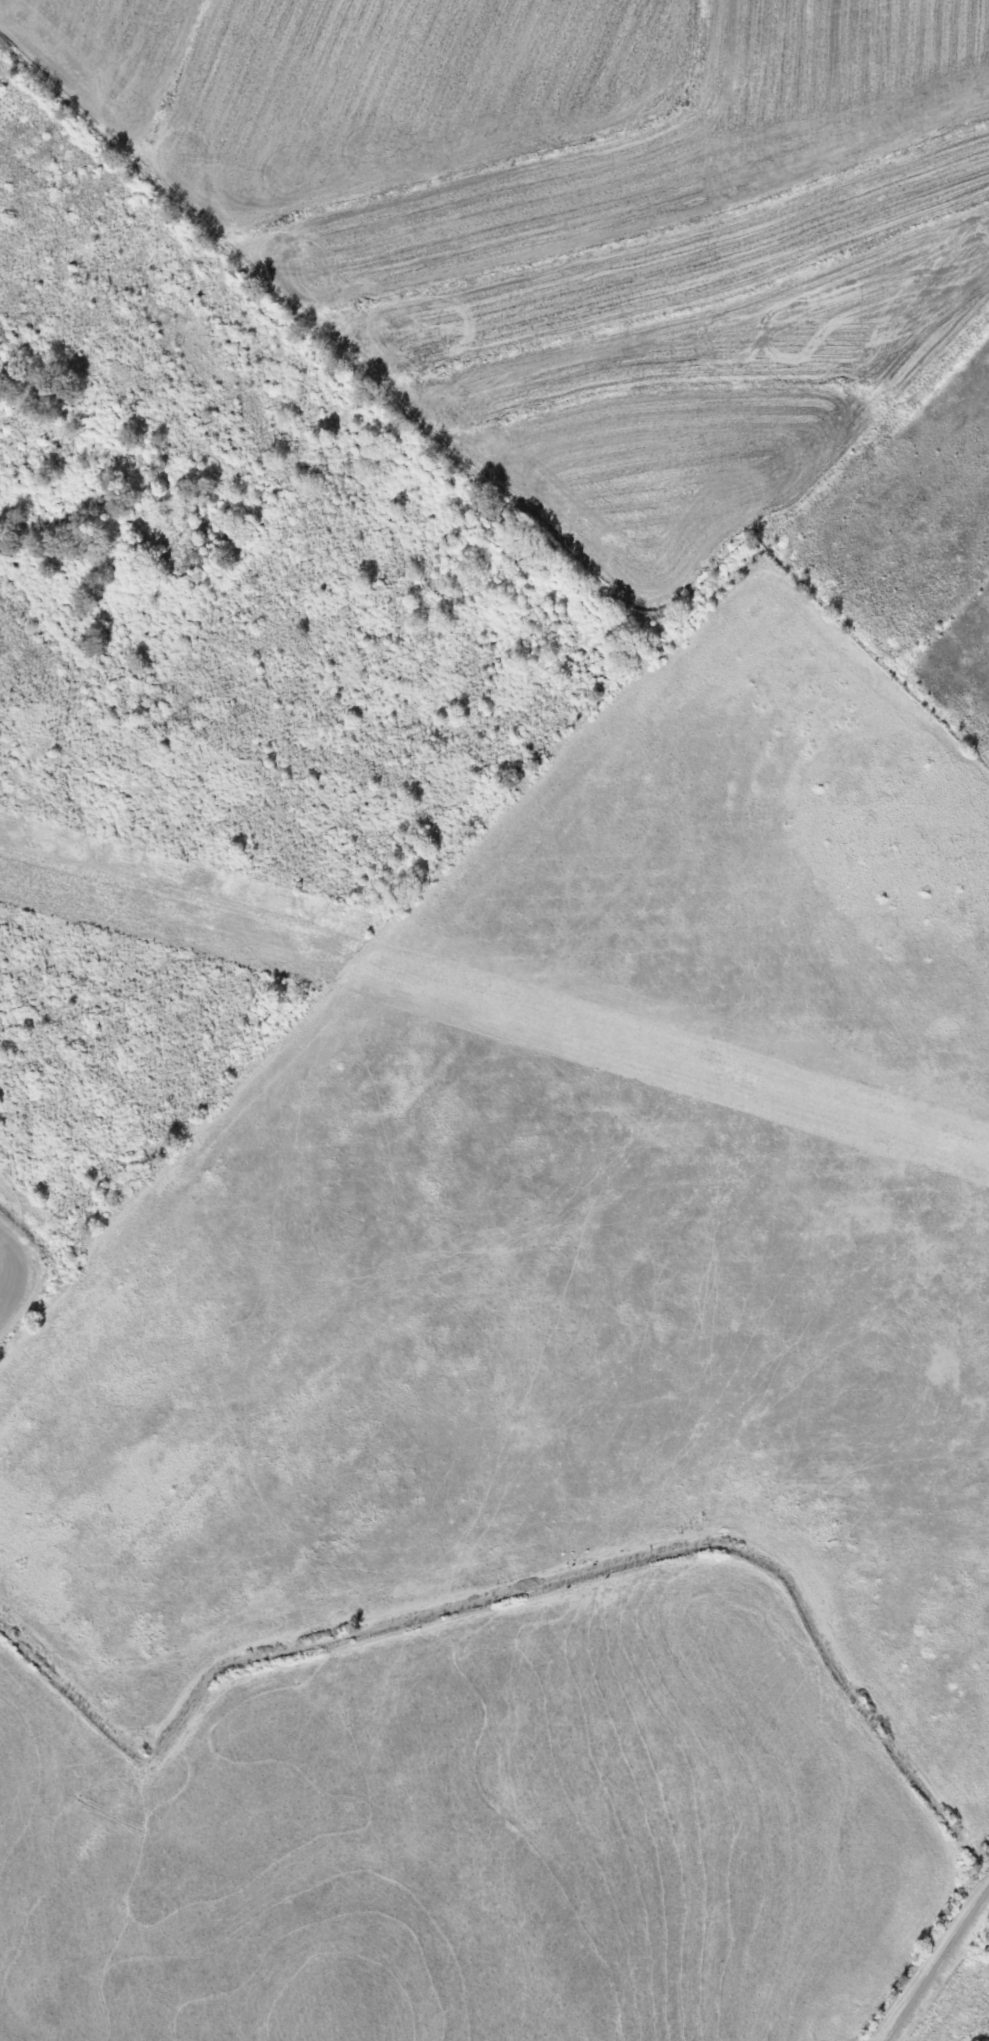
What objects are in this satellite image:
road: (84, 476)
road: (937, 1964)

